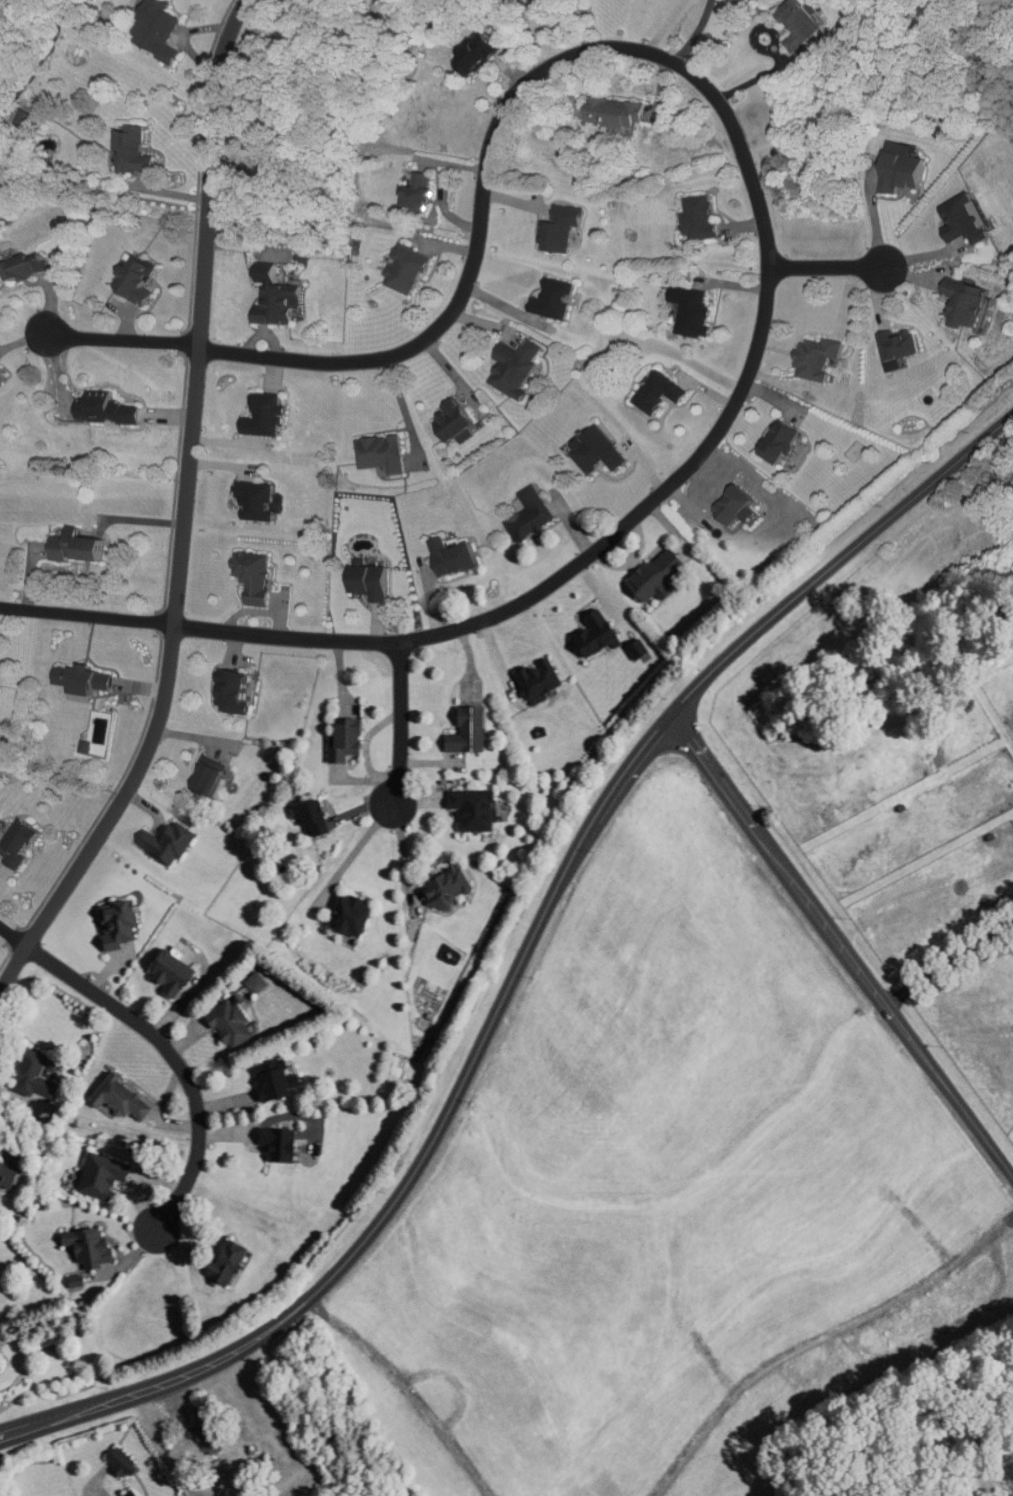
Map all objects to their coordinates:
building: (386, 0)
road: (664, 26)
building: (810, 27)
building: (161, 31)
road: (695, 33)
building: (485, 57)
building: (624, 115)
building: (137, 150)
building: (910, 173)
building: (427, 192)
road: (765, 208)
building: (707, 219)
building: (971, 219)
building: (565, 227)
building: (33, 266)
road: (833, 268)
building: (412, 269)
building: (142, 278)
building: (282, 299)
building: (557, 299)
building: (975, 301)
building: (700, 311)
road: (119, 340)
building: (906, 344)
building: (826, 356)
building: (521, 367)
building: (2, 377)
building: (667, 392)
building: (110, 410)
building: (270, 416)
building: (461, 422)
building: (790, 441)
building: (604, 451)
building: (385, 454)
building: (261, 502)
building: (742, 505)
building: (534, 514)
road: (183, 515)
building: (82, 546)
building: (459, 558)
building: (662, 573)
building: (259, 577)
building: (376, 583)
road: (87, 616)
building: (600, 633)
building: (0, 662)
building: (542, 681)
building: (85, 682)
building: (239, 691)
road: (401, 723)
building: (472, 731)
building: (350, 741)
building: (214, 778)
building: (480, 809)
building: (319, 819)
building: (172, 843)
building: (26, 845)
building: (975, 857)
building: (450, 888)
building: (357, 915)
building: (123, 925)
road: (13, 936)
road: (843, 942)
road: (520, 960)
building: (176, 974)
building: (236, 1025)
road: (173, 1056)
building: (39, 1075)
building: (280, 1081)
building: (125, 1100)
building: (284, 1144)
building: (4, 1176)
building: (107, 1176)
building: (94, 1247)
building: (234, 1262)
building: (213, 1439)
building: (125, 1463)
building: (132, 1494)

